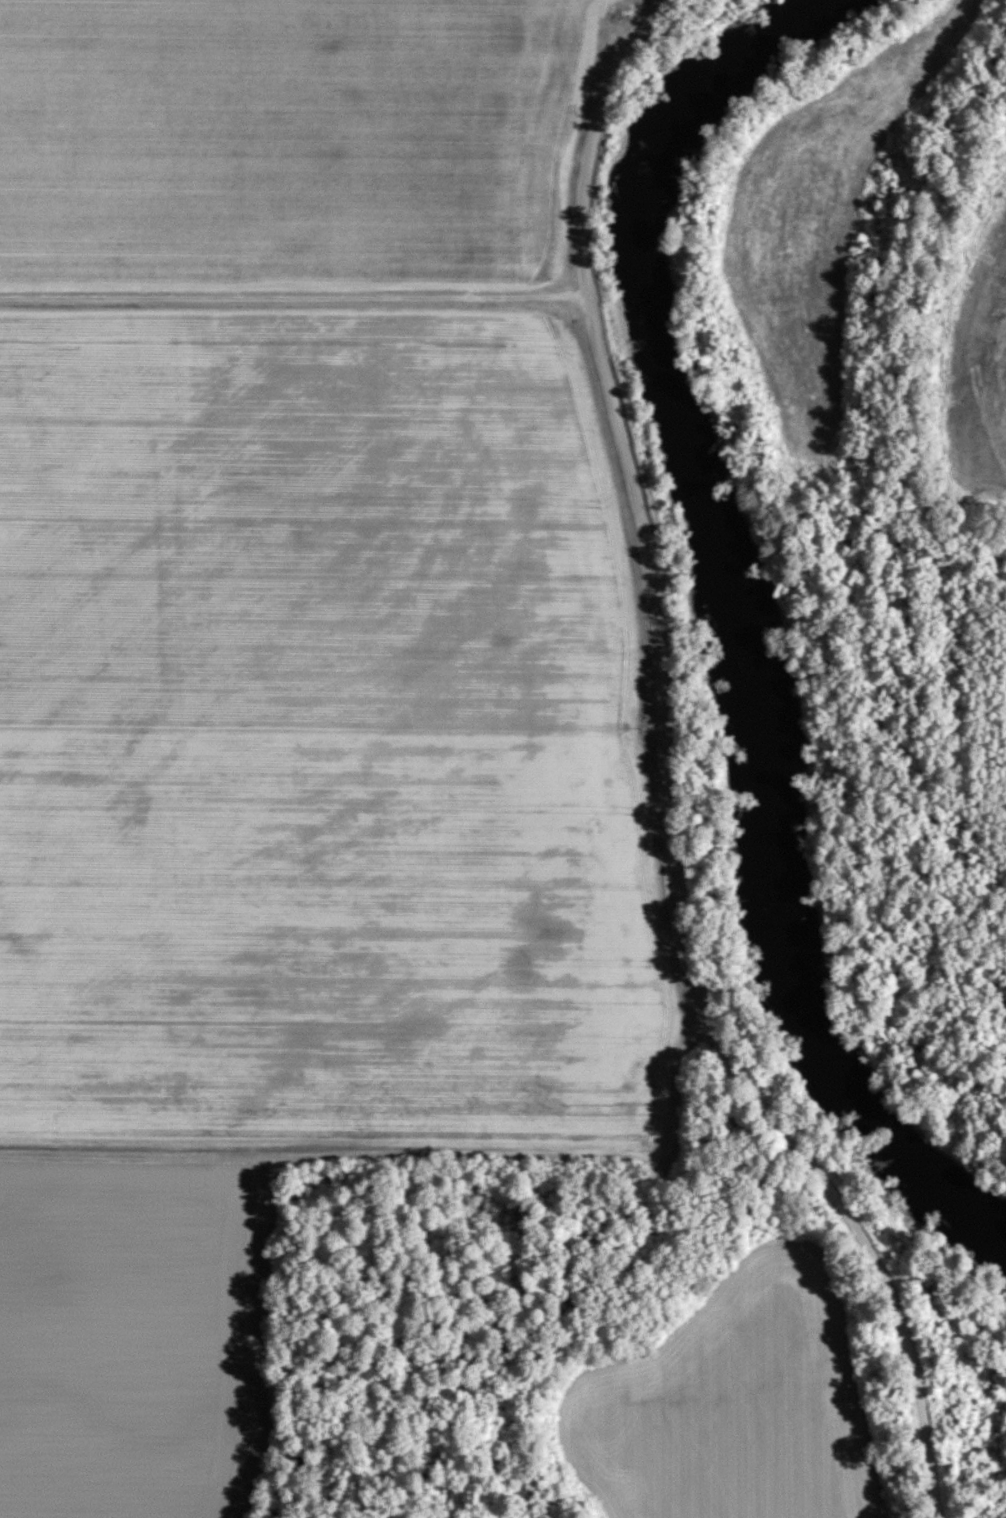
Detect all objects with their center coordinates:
road: (319, 32)
river: (735, 640)
road: (670, 778)

